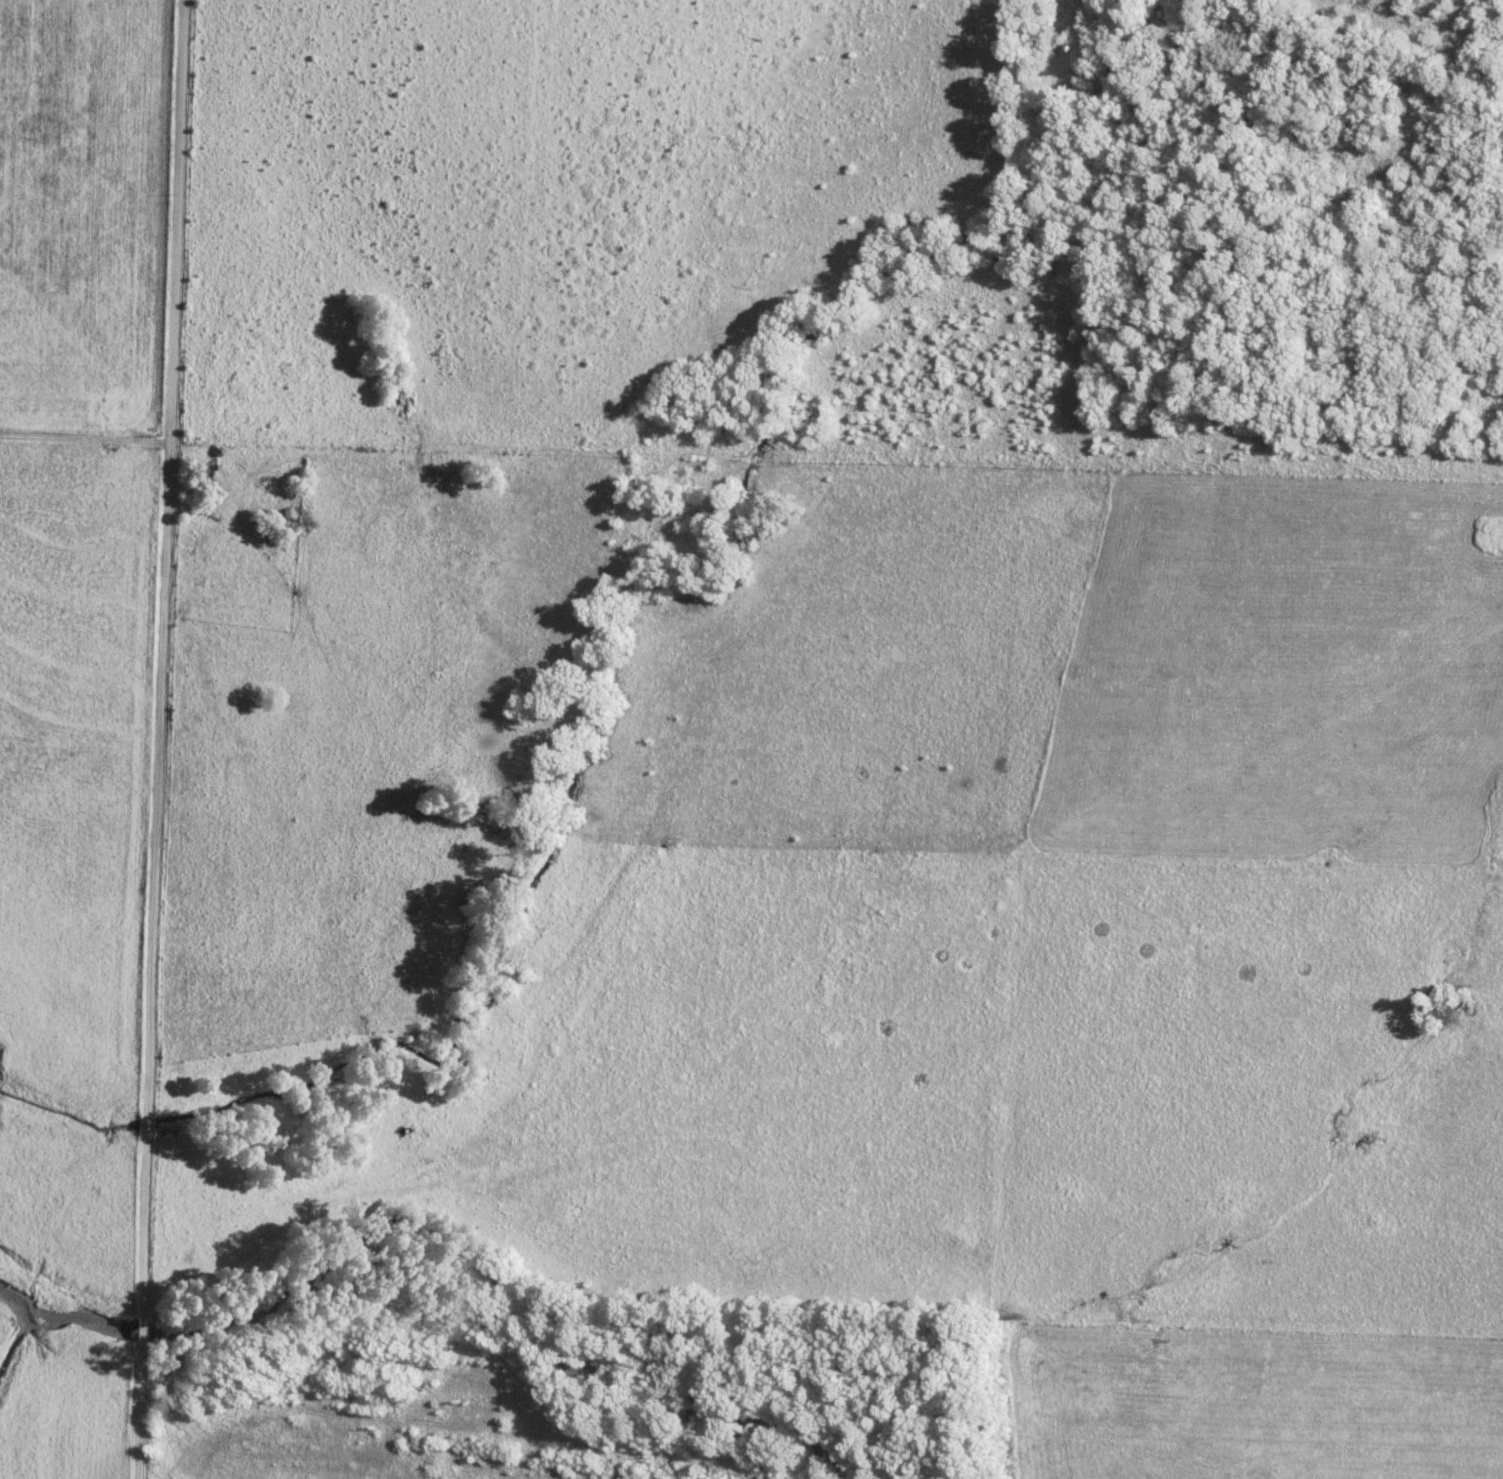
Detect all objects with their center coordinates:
road: (85, 443)
road: (161, 739)

